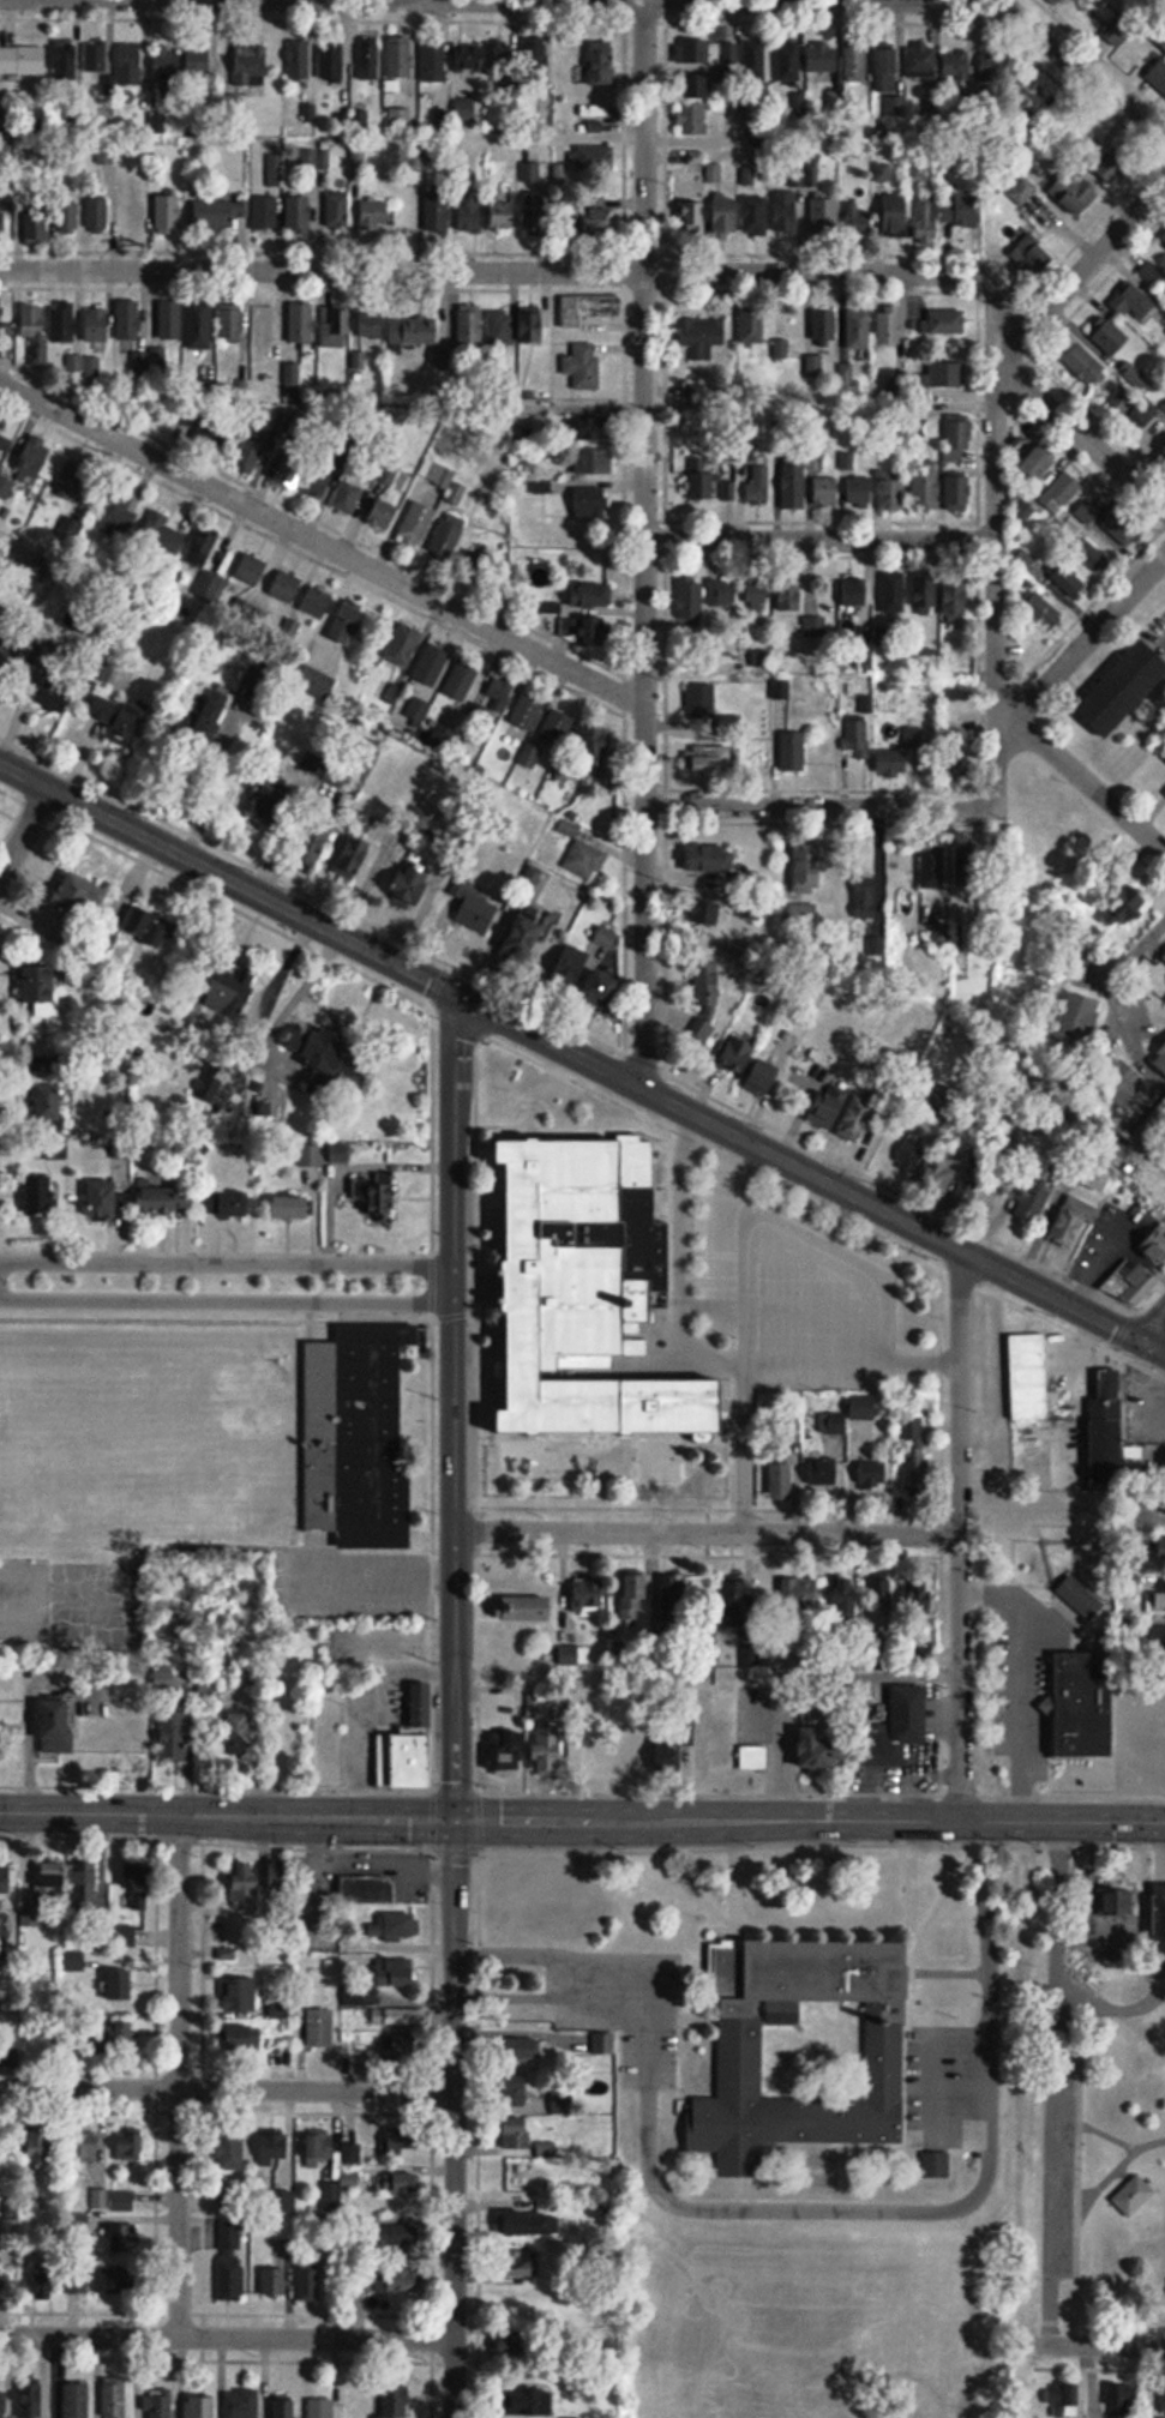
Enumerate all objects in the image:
road: (757, 1)
building: (1062, 1)
building: (1164, 41)
building: (697, 52)
building: (535, 56)
building: (97, 58)
building: (400, 58)
building: (468, 58)
building: (368, 59)
building: (499, 59)
building: (823, 59)
building: (23, 60)
building: (299, 60)
building: (332, 60)
building: (755, 60)
building: (788, 61)
building: (855, 61)
building: (921, 61)
building: (65, 62)
building: (199, 62)
building: (166, 64)
building: (433, 64)
building: (601, 64)
building: (961, 64)
building: (130, 65)
building: (251, 66)
building: (887, 68)
road: (1082, 73)
building: (699, 85)
building: (595, 112)
building: (470, 113)
building: (2, 116)
building: (692, 118)
building: (400, 120)
building: (597, 126)
building: (593, 158)
building: (358, 163)
building: (276, 170)
building: (713, 173)
building: (915, 173)
building: (1022, 191)
building: (1074, 193)
building: (337, 210)
building: (535, 210)
building: (963, 210)
building: (265, 212)
building: (437, 212)
building: (791, 212)
building: (167, 213)
building: (470, 213)
building: (695, 213)
building: (726, 213)
building: (97, 215)
building: (134, 215)
building: (299, 215)
building: (377, 215)
building: (504, 215)
building: (756, 215)
building: (895, 215)
building: (218, 216)
building: (70, 217)
building: (825, 217)
building: (859, 218)
building: (926, 219)
building: (2, 221)
building: (596, 221)
building: (37, 223)
building: (1163, 237)
building: (1032, 257)
road: (538, 269)
building: (1153, 276)
building: (1133, 302)
building: (589, 308)
building: (0, 309)
building: (130, 320)
building: (170, 321)
building: (230, 321)
building: (945, 323)
building: (265, 324)
building: (302, 324)
building: (530, 324)
building: (752, 324)
building: (64, 325)
building: (97, 325)
building: (200, 325)
building: (371, 325)
building: (470, 326)
building: (824, 326)
building: (889, 326)
building: (499, 327)
building: (334, 329)
building: (413, 330)
building: (858, 330)
building: (35, 332)
building: (701, 336)
building: (1110, 337)
building: (780, 348)
building: (1086, 365)
building: (813, 366)
building: (92, 367)
building: (583, 367)
building: (939, 375)
building: (848, 379)
road: (996, 419)
building: (2, 422)
road: (1081, 433)
building: (957, 439)
building: (1164, 451)
building: (36, 457)
building: (591, 463)
building: (1038, 464)
building: (306, 476)
building: (5, 485)
building: (793, 485)
building: (73, 486)
building: (703, 486)
building: (758, 486)
building: (926, 487)
building: (891, 491)
building: (825, 492)
building: (859, 493)
building: (959, 493)
building: (1061, 493)
building: (347, 499)
building: (590, 505)
building: (1023, 511)
building: (116, 513)
building: (382, 517)
building: (1107, 521)
building: (162, 535)
road: (819, 539)
building: (446, 540)
road: (643, 543)
road: (320, 545)
building: (202, 548)
building: (1091, 557)
building: (251, 571)
building: (1068, 582)
building: (209, 587)
building: (286, 588)
building: (854, 593)
building: (722, 594)
building: (894, 594)
building: (925, 595)
building: (590, 596)
building: (789, 596)
building: (756, 600)
building: (956, 600)
building: (690, 601)
building: (317, 602)
building: (247, 612)
building: (1043, 612)
building: (348, 622)
building: (813, 628)
building: (599, 632)
road: (1089, 636)
building: (403, 645)
building: (7, 658)
building: (431, 666)
building: (461, 680)
building: (316, 684)
building: (1123, 690)
building: (54, 692)
building: (499, 694)
building: (701, 702)
building: (527, 712)
road: (993, 717)
building: (118, 720)
building: (557, 729)
building: (595, 744)
building: (793, 752)
building: (325, 764)
building: (893, 764)
building: (711, 765)
road: (1089, 784)
building: (1164, 793)
road: (864, 806)
road: (23, 832)
building: (316, 846)
building: (707, 858)
building: (355, 859)
building: (585, 859)
building: (806, 867)
building: (937, 868)
road: (229, 880)
building: (413, 885)
building: (82, 894)
building: (864, 896)
building: (478, 904)
building: (1125, 908)
building: (705, 913)
building: (146, 925)
building: (607, 938)
building: (524, 939)
building: (1164, 952)
road: (1141, 956)
building: (575, 967)
building: (44, 984)
building: (226, 991)
building: (603, 992)
building: (708, 1002)
building: (1079, 1021)
building: (323, 1057)
building: (738, 1057)
building: (1160, 1061)
building: (41, 1065)
building: (767, 1077)
building: (211, 1078)
building: (1124, 1087)
building: (47, 1105)
building: (845, 1118)
road: (456, 1150)
building: (340, 1154)
building: (306, 1155)
building: (911, 1156)
road: (799, 1167)
building: (939, 1179)
building: (1099, 1181)
building: (42, 1193)
building: (967, 1195)
building: (106, 1198)
building: (373, 1199)
building: (1033, 1203)
building: (241, 1204)
building: (293, 1207)
building: (1073, 1222)
building: (1154, 1246)
road: (227, 1262)
building: (1131, 1281)
building: (591, 1295)
road: (227, 1301)
road: (1151, 1327)
road: (1151, 1351)
road: (454, 1416)
building: (1107, 1430)
building: (358, 1436)
building: (915, 1455)
building: (823, 1472)
building: (780, 1474)
building: (867, 1475)
road: (707, 1530)
road: (959, 1535)
building: (1161, 1547)
building: (593, 1594)
building: (804, 1594)
building: (920, 1594)
building: (633, 1595)
building: (845, 1599)
building: (673, 1600)
building: (881, 1600)
building: (1160, 1601)
building: (527, 1607)
building: (1157, 1638)
building: (397, 1647)
building: (921, 1656)
road: (455, 1674)
building: (1097, 1710)
building: (55, 1725)
building: (897, 1727)
building: (239, 1730)
building: (174, 1734)
building: (415, 1742)
building: (550, 1748)
building: (822, 1749)
building: (668, 1751)
building: (506, 1752)
building: (755, 1756)
road: (582, 1821)
building: (53, 1872)
building: (280, 1875)
building: (7, 1881)
building: (86, 1882)
building: (137, 1882)
building: (246, 1884)
building: (368, 1890)
building: (1111, 1896)
building: (547, 1914)
building: (1159, 1918)
building: (401, 1924)
building: (125, 1935)
building: (395, 1971)
building: (122, 1983)
road: (547, 1991)
building: (241, 1993)
building: (353, 1996)
road: (1161, 1997)
road: (1134, 2009)
building: (280, 2010)
building: (391, 2016)
building: (319, 2027)
building: (104, 2037)
building: (244, 2037)
building: (601, 2043)
building: (805, 2047)
road: (179, 2075)
road: (1052, 2083)
building: (517, 2087)
road: (241, 2088)
road: (455, 2118)
park: (1093, 2121)
building: (517, 2133)
building: (402, 2137)
road: (1107, 2137)
building: (128, 2146)
building: (41, 2147)
building: (85, 2147)
building: (319, 2147)
building: (272, 2148)
building: (546, 2149)
building: (230, 2151)
building: (936, 2165)
building: (350, 2166)
road: (1118, 2169)
building: (526, 2179)
building: (398, 2184)
building: (1133, 2196)
building: (100, 2200)
building: (122, 2201)
road: (794, 2205)
building: (532, 2224)
building: (398, 2237)
building: (122, 2239)
building: (230, 2263)
building: (520, 2263)
building: (336, 2272)
building: (274, 2280)
building: (390, 2280)
building: (310, 2281)
building: (40, 2286)
building: (77, 2291)
road: (227, 2336)
road: (1080, 2345)
building: (115, 2399)
building: (1121, 2399)
building: (31, 2400)
building: (70, 2400)
building: (392, 2400)
building: (532, 2400)
building: (1161, 2400)
building: (158, 2402)
building: (241, 2404)
building: (2, 2405)
building: (199, 2407)
building: (286, 2407)
building: (323, 2407)

